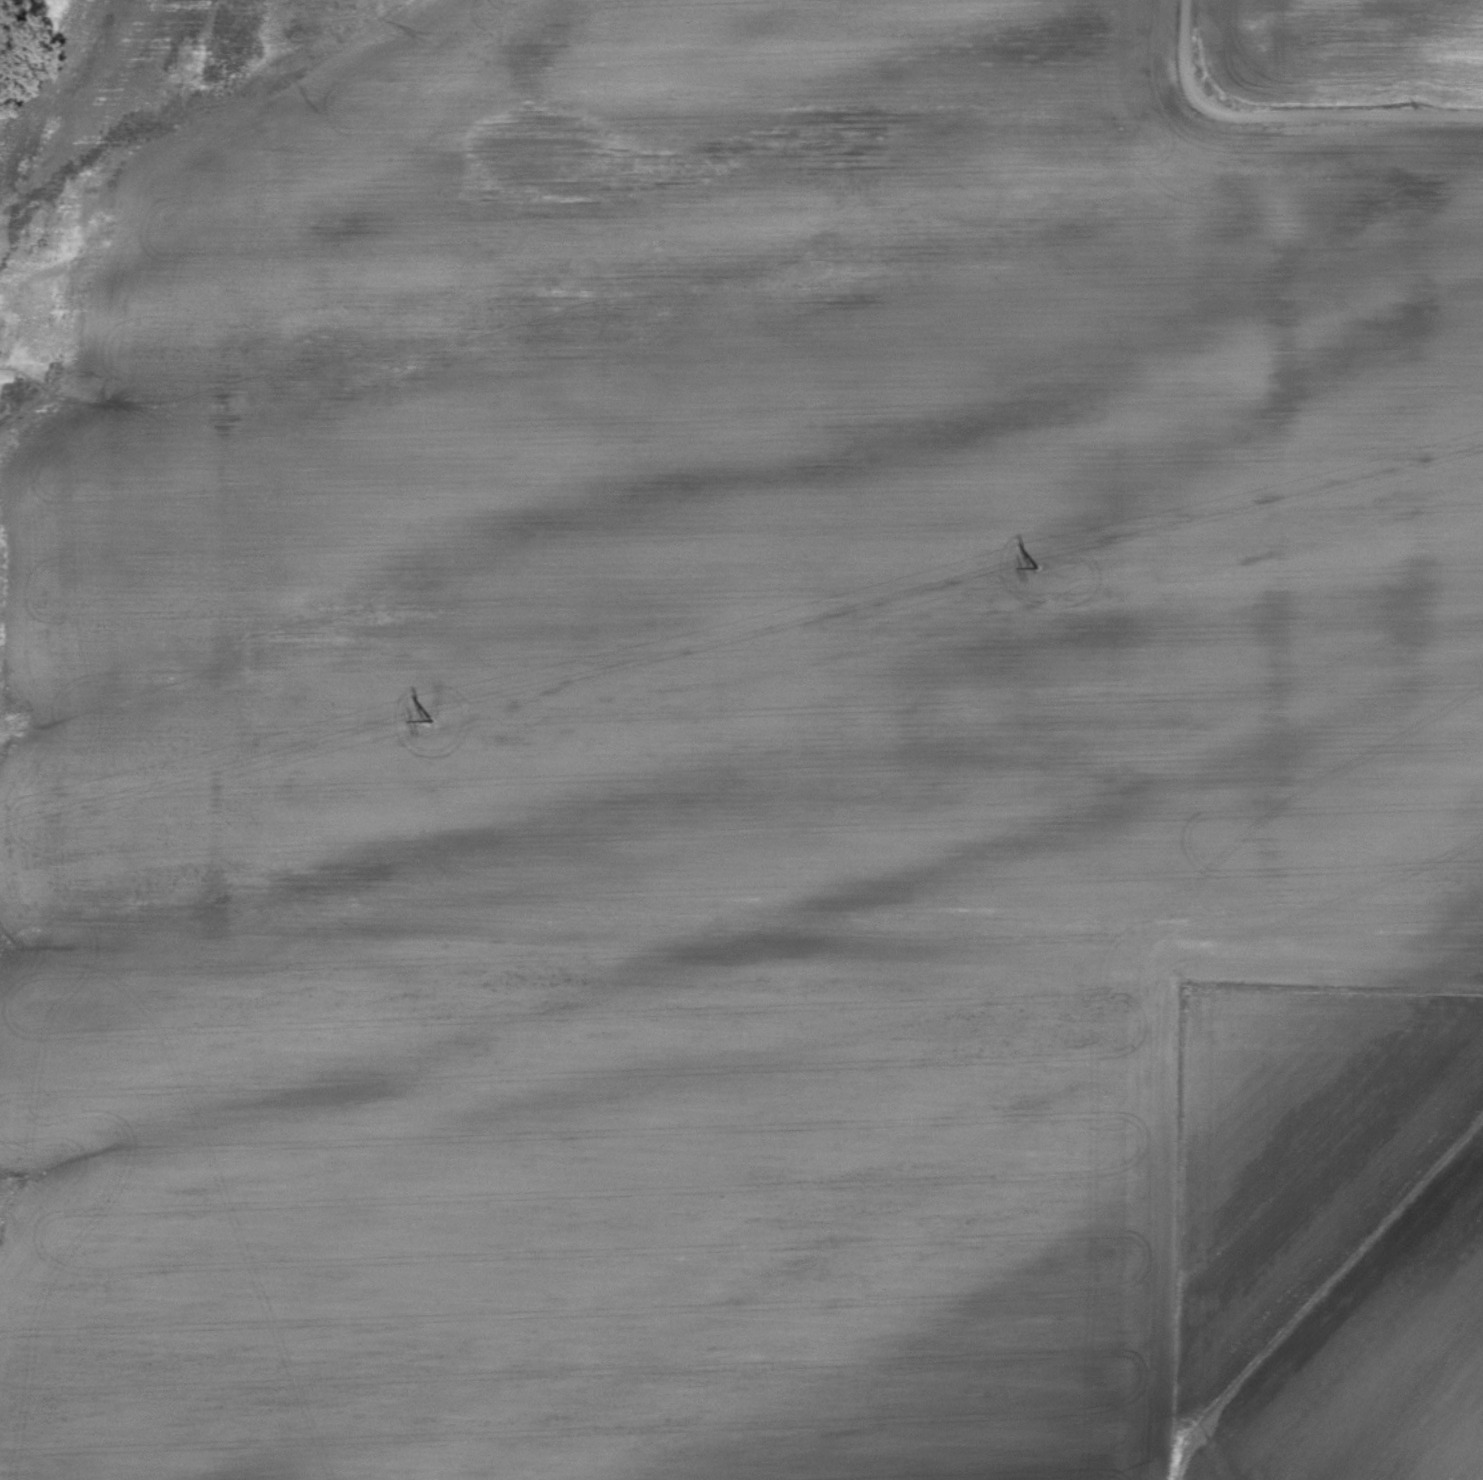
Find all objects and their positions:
road: (1284, 121)
power tower: (1047, 575)
power tower: (434, 730)

